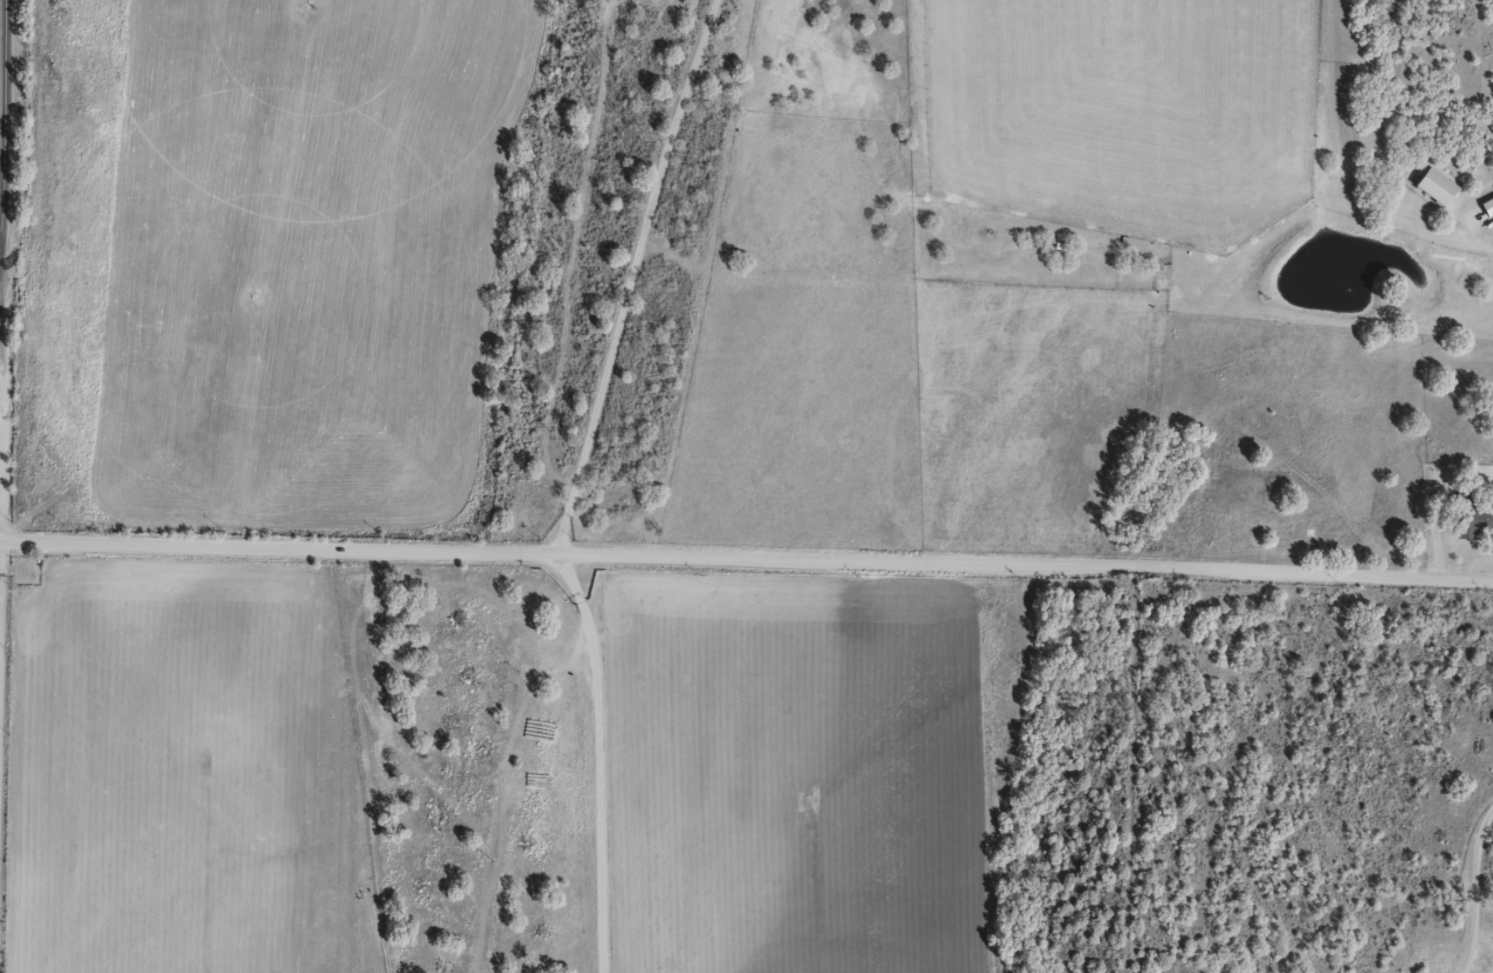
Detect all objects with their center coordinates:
road: (3, 112)
building: (1436, 185)
road: (46, 417)
road: (572, 477)
building: (1475, 523)
road: (19, 544)
road: (765, 564)
building: (24, 574)
road: (33, 759)

